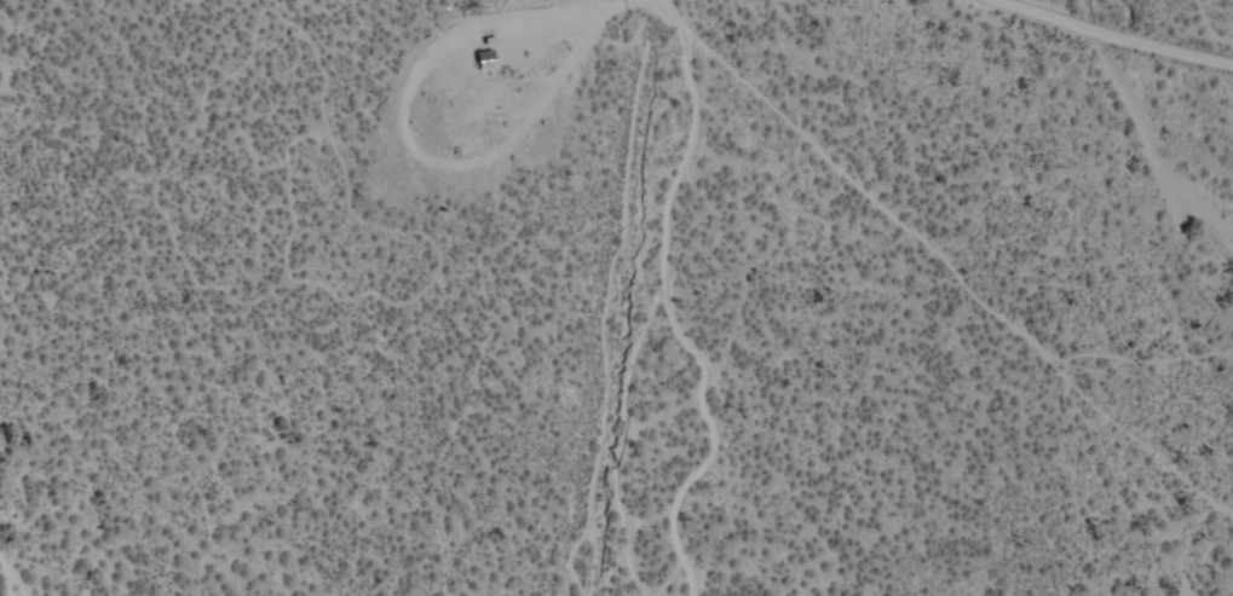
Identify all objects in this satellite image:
road: (1113, 37)
road: (620, 297)

